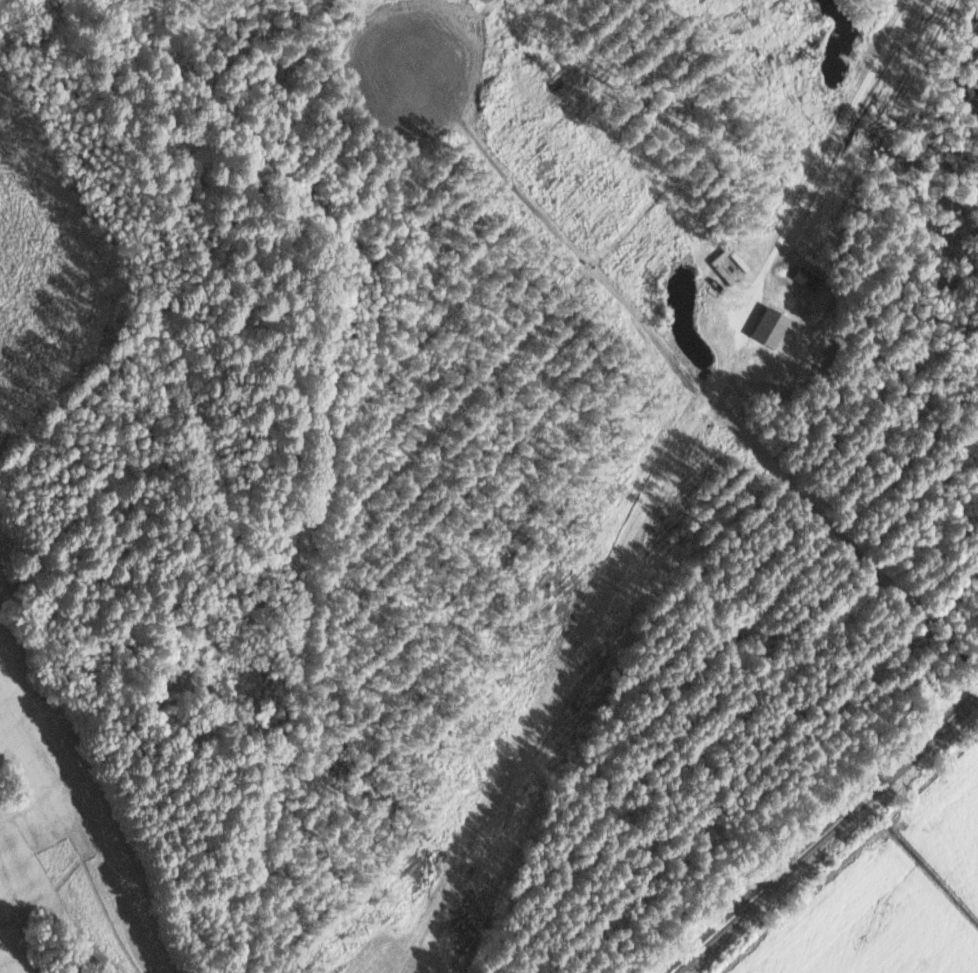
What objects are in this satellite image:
building: (808, 277)
building: (773, 325)
railway: (824, 833)

